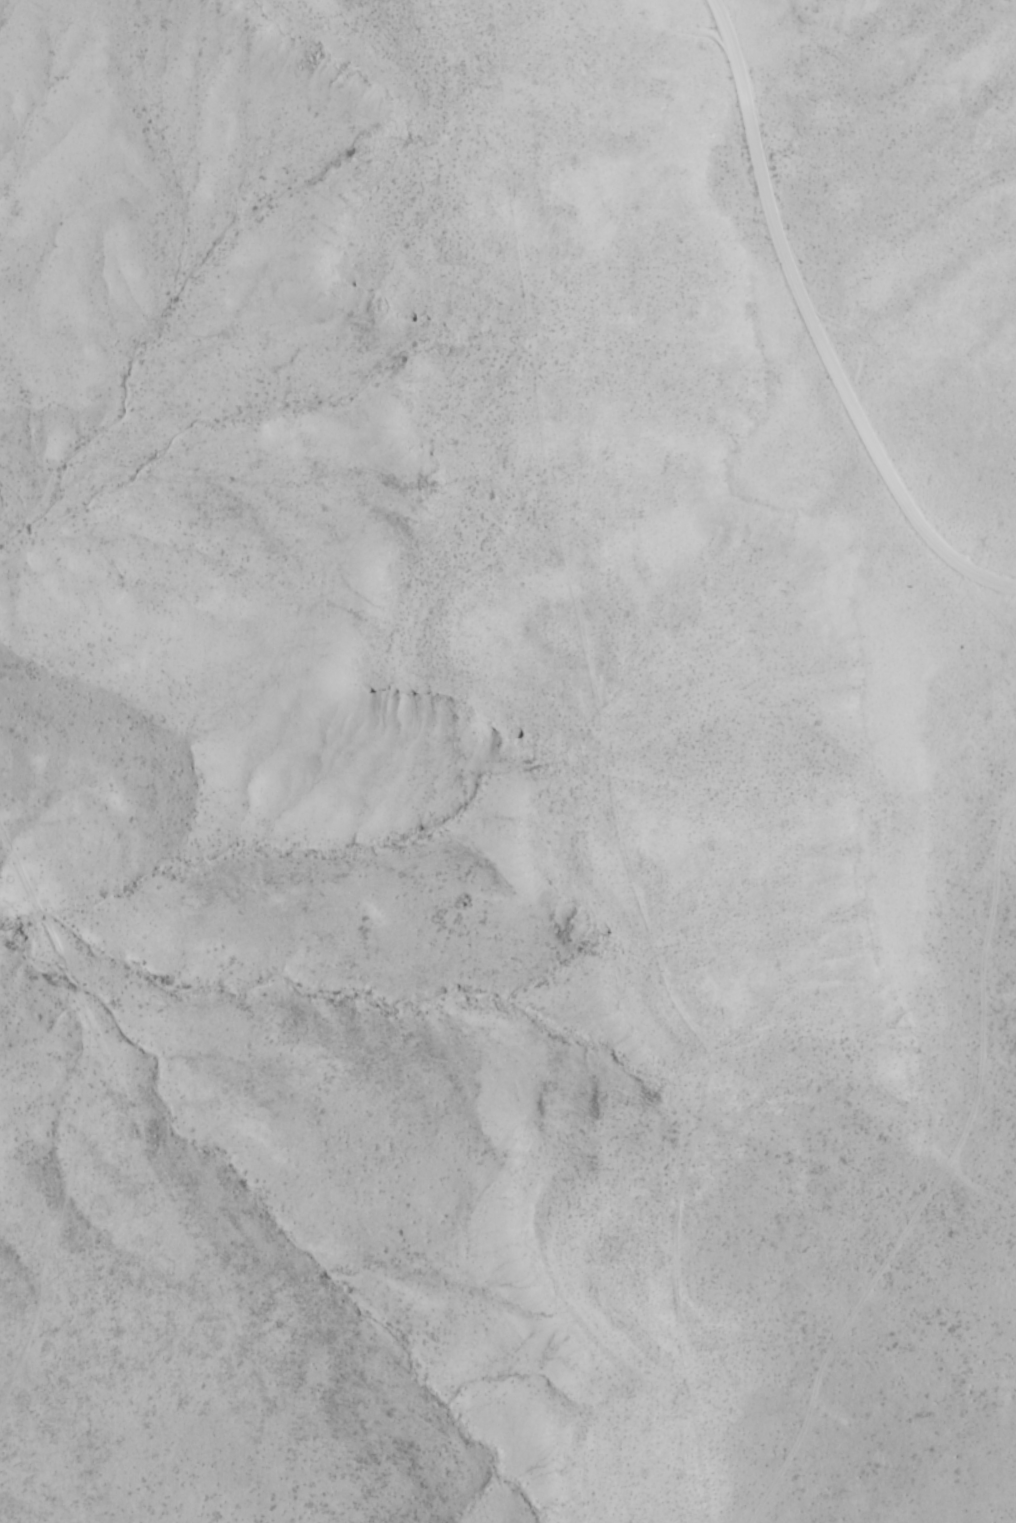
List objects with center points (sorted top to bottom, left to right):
road: (809, 327)

